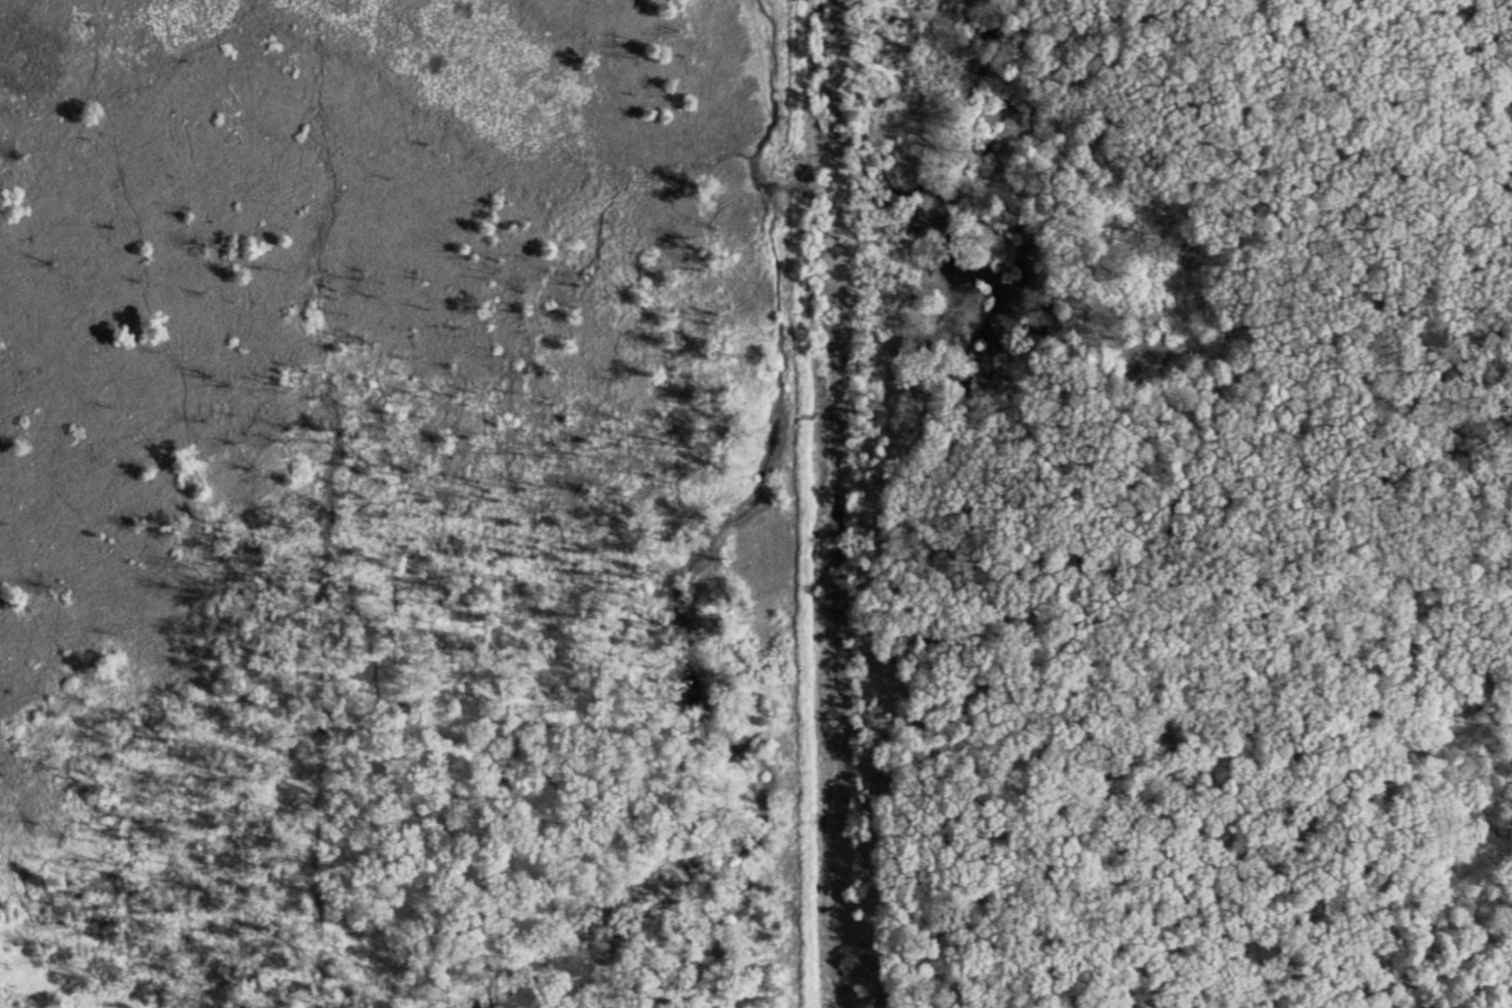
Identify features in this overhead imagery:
road: (799, 504)

